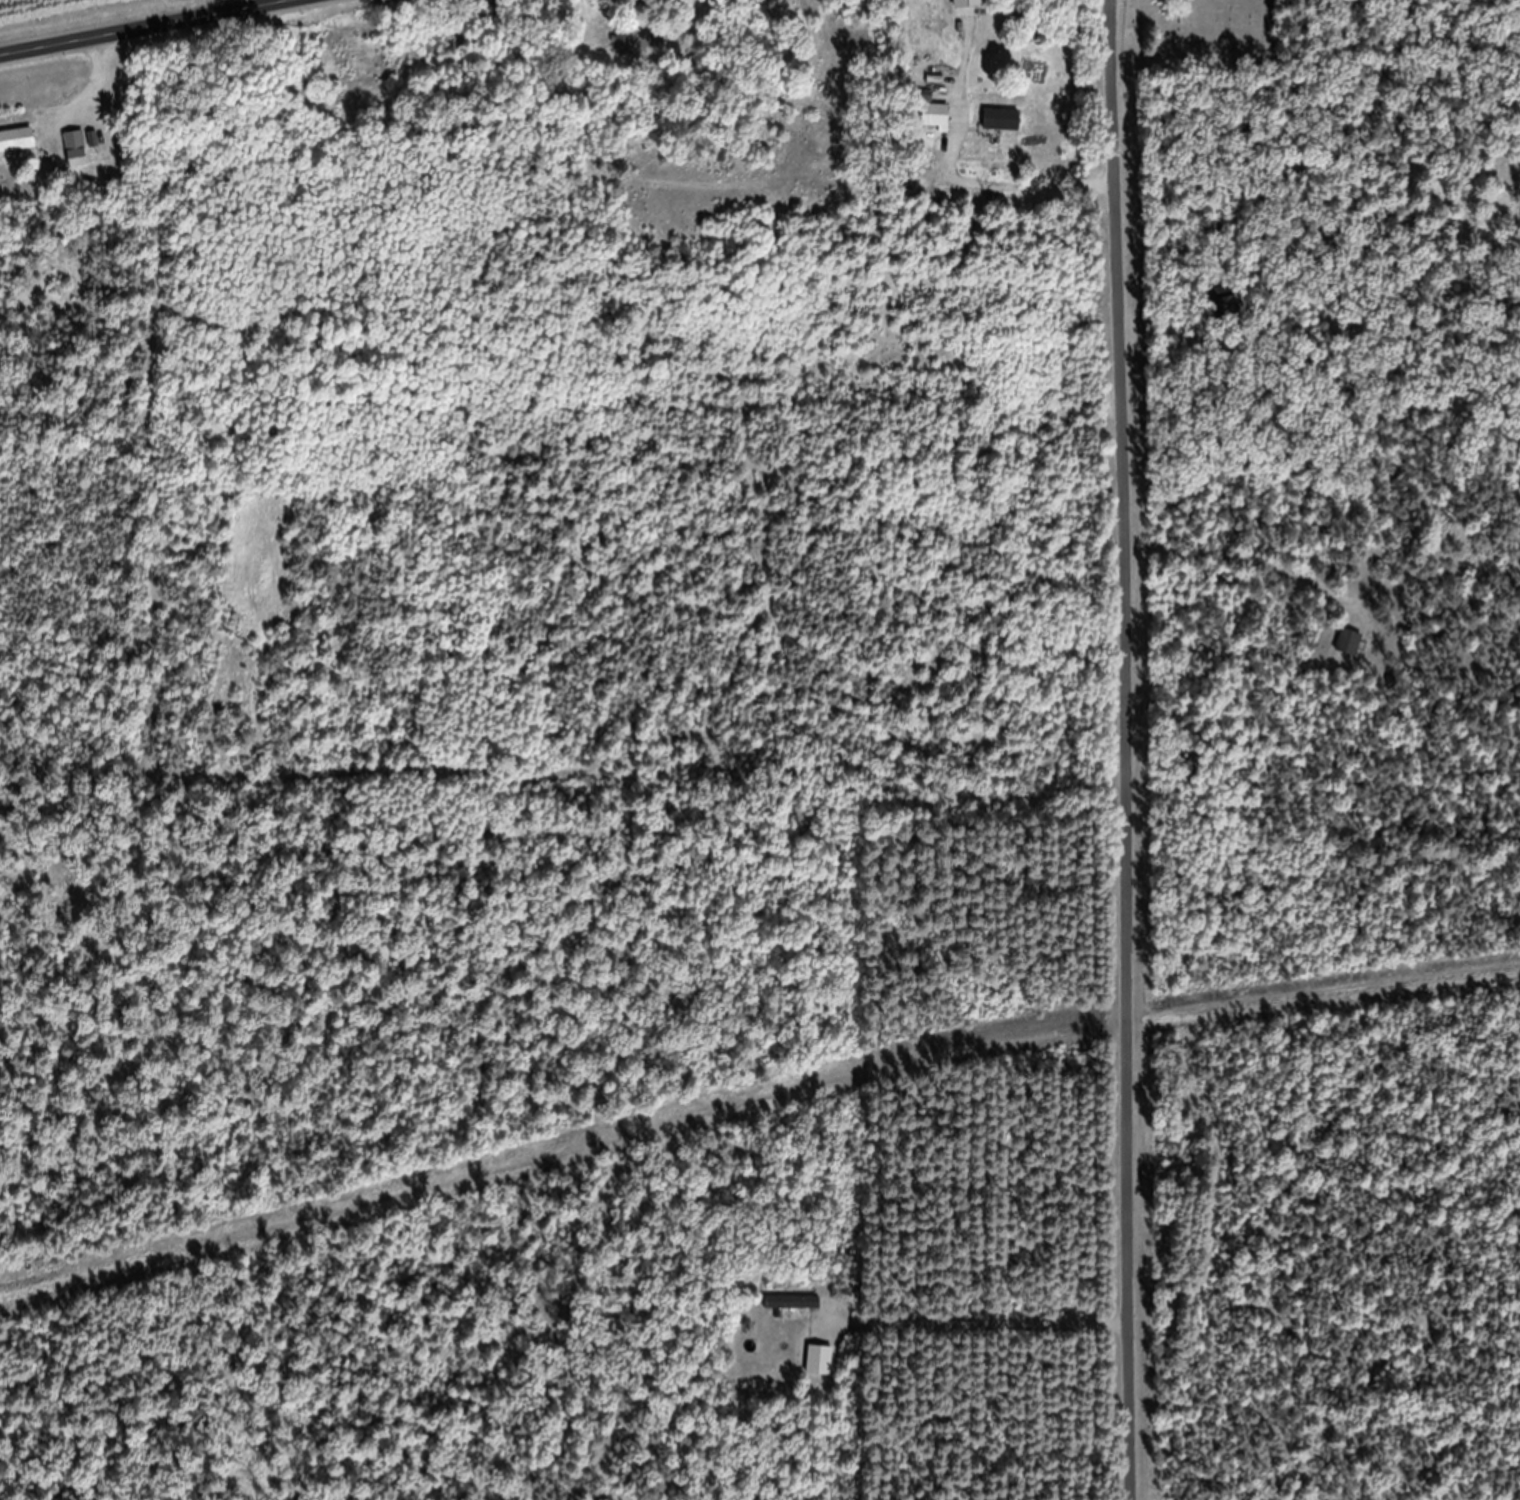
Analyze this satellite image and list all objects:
road: (142, 29)
building: (627, 53)
building: (940, 126)
building: (1003, 131)
building: (17, 151)
building: (82, 152)
building: (1227, 314)
building: (1350, 654)
road: (1122, 749)
building: (794, 1317)

